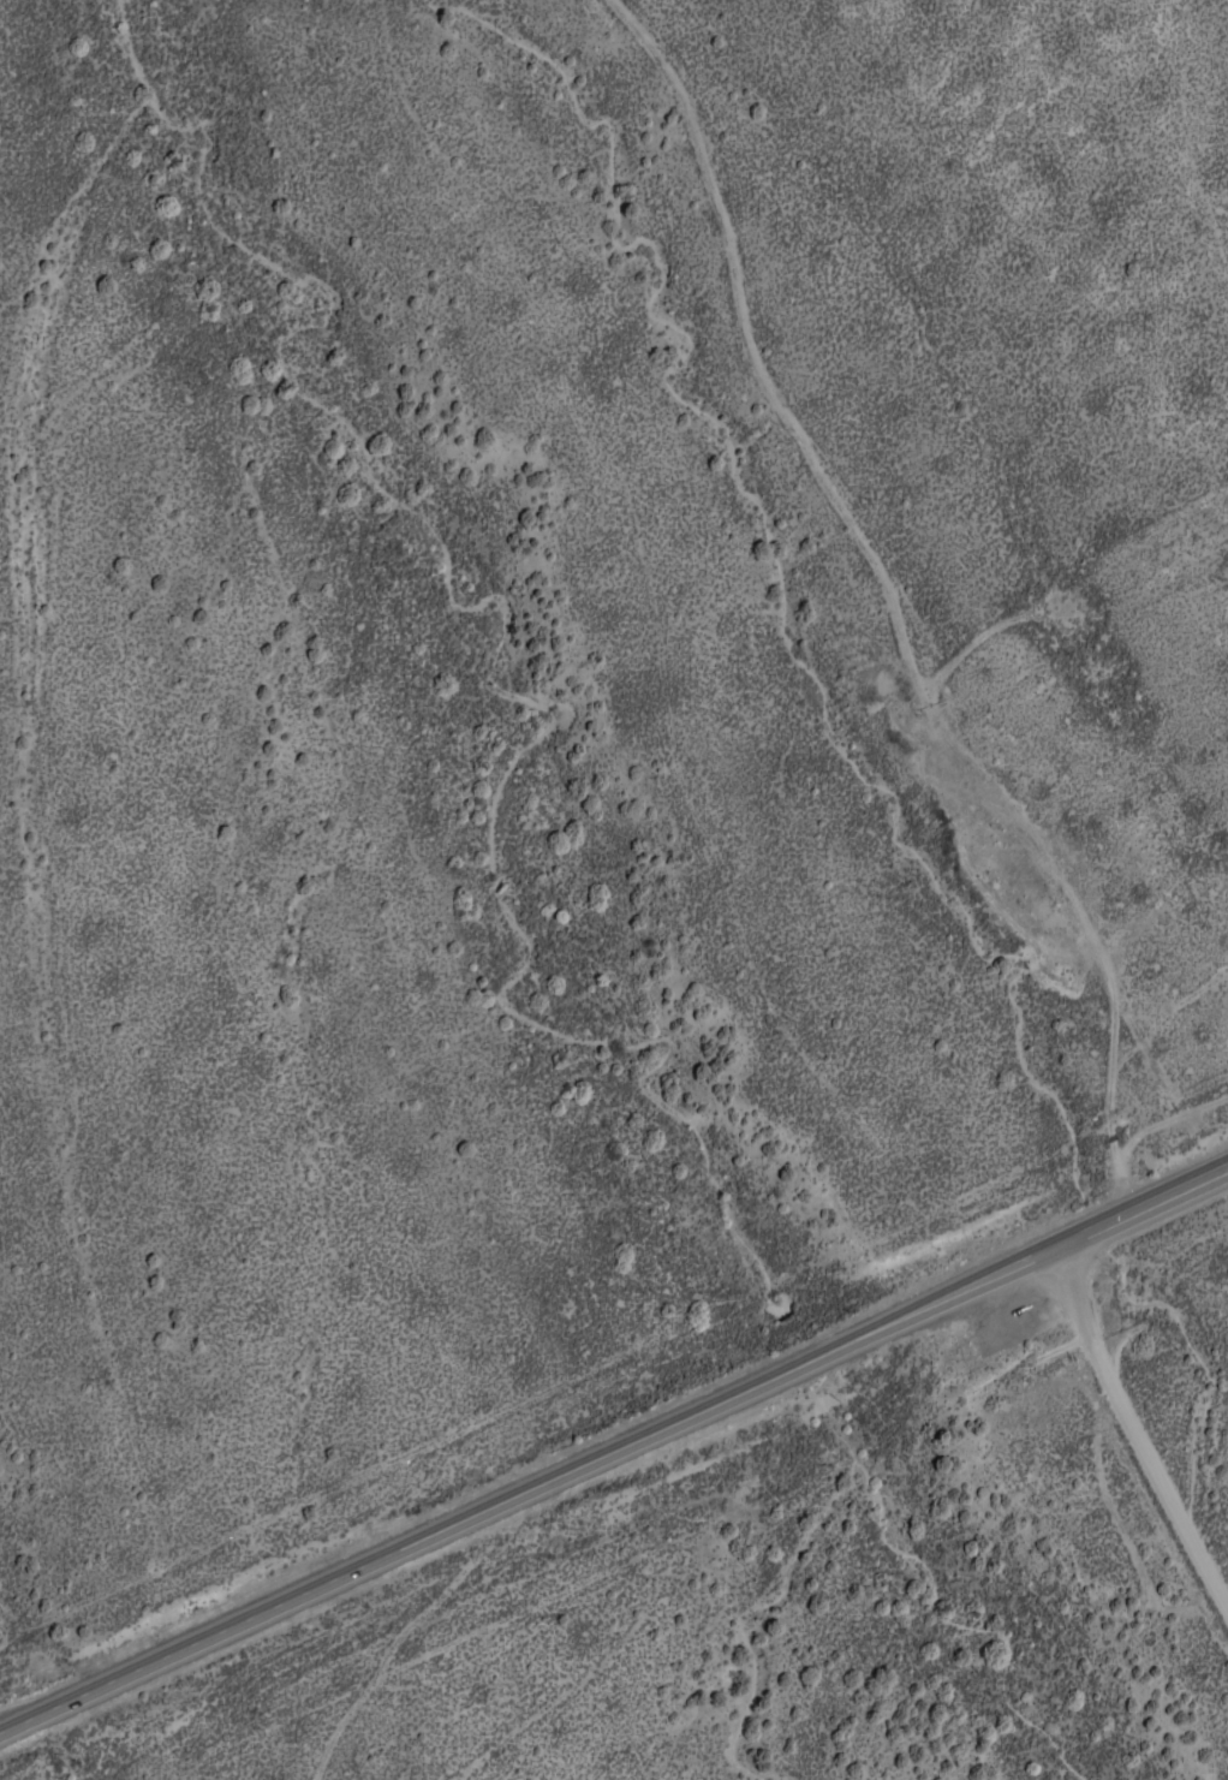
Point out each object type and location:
road: (898, 603)
road: (1134, 1422)
road: (613, 1447)

